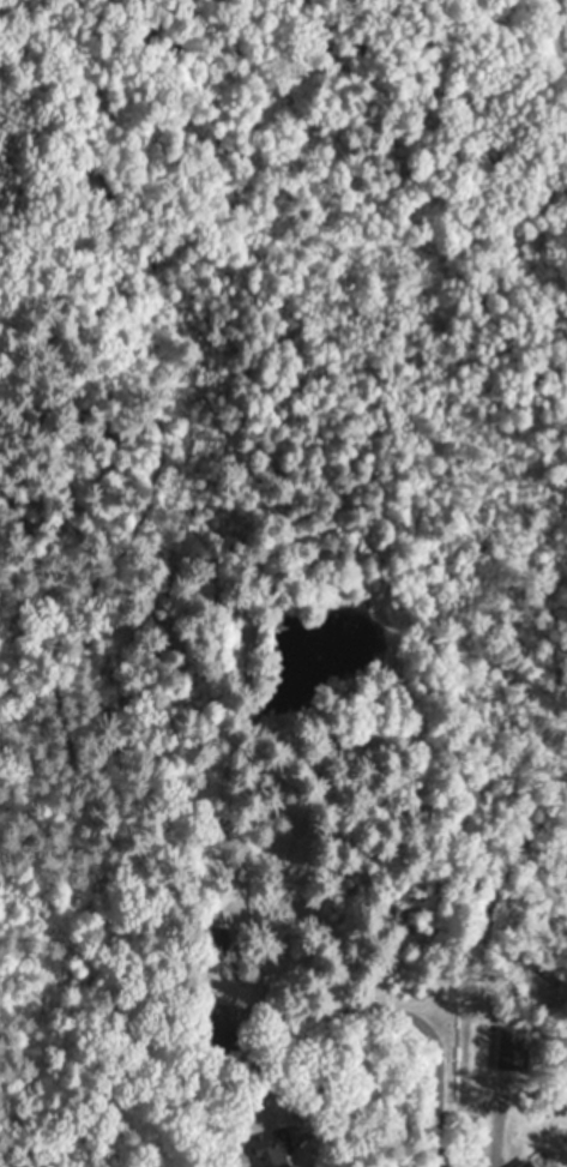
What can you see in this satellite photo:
crop: (559, 31)
building: (219, 942)
building: (198, 985)
building: (198, 1023)
building: (511, 1048)
building: (219, 1049)
building: (541, 1137)
building: (273, 1148)
building: (524, 1163)
building: (559, 1163)

